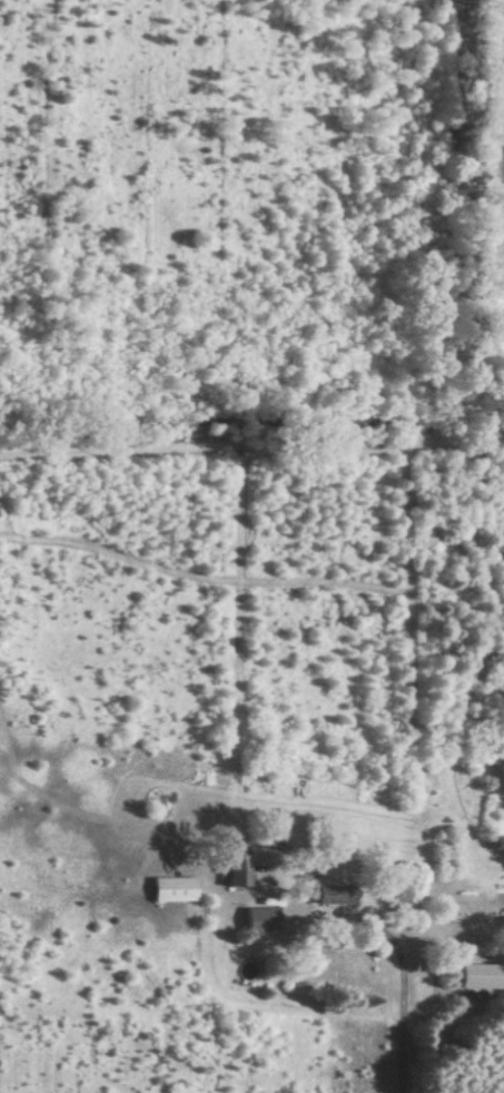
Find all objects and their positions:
building: (226, 873)
building: (165, 889)
building: (315, 894)
building: (253, 920)
road: (399, 971)

